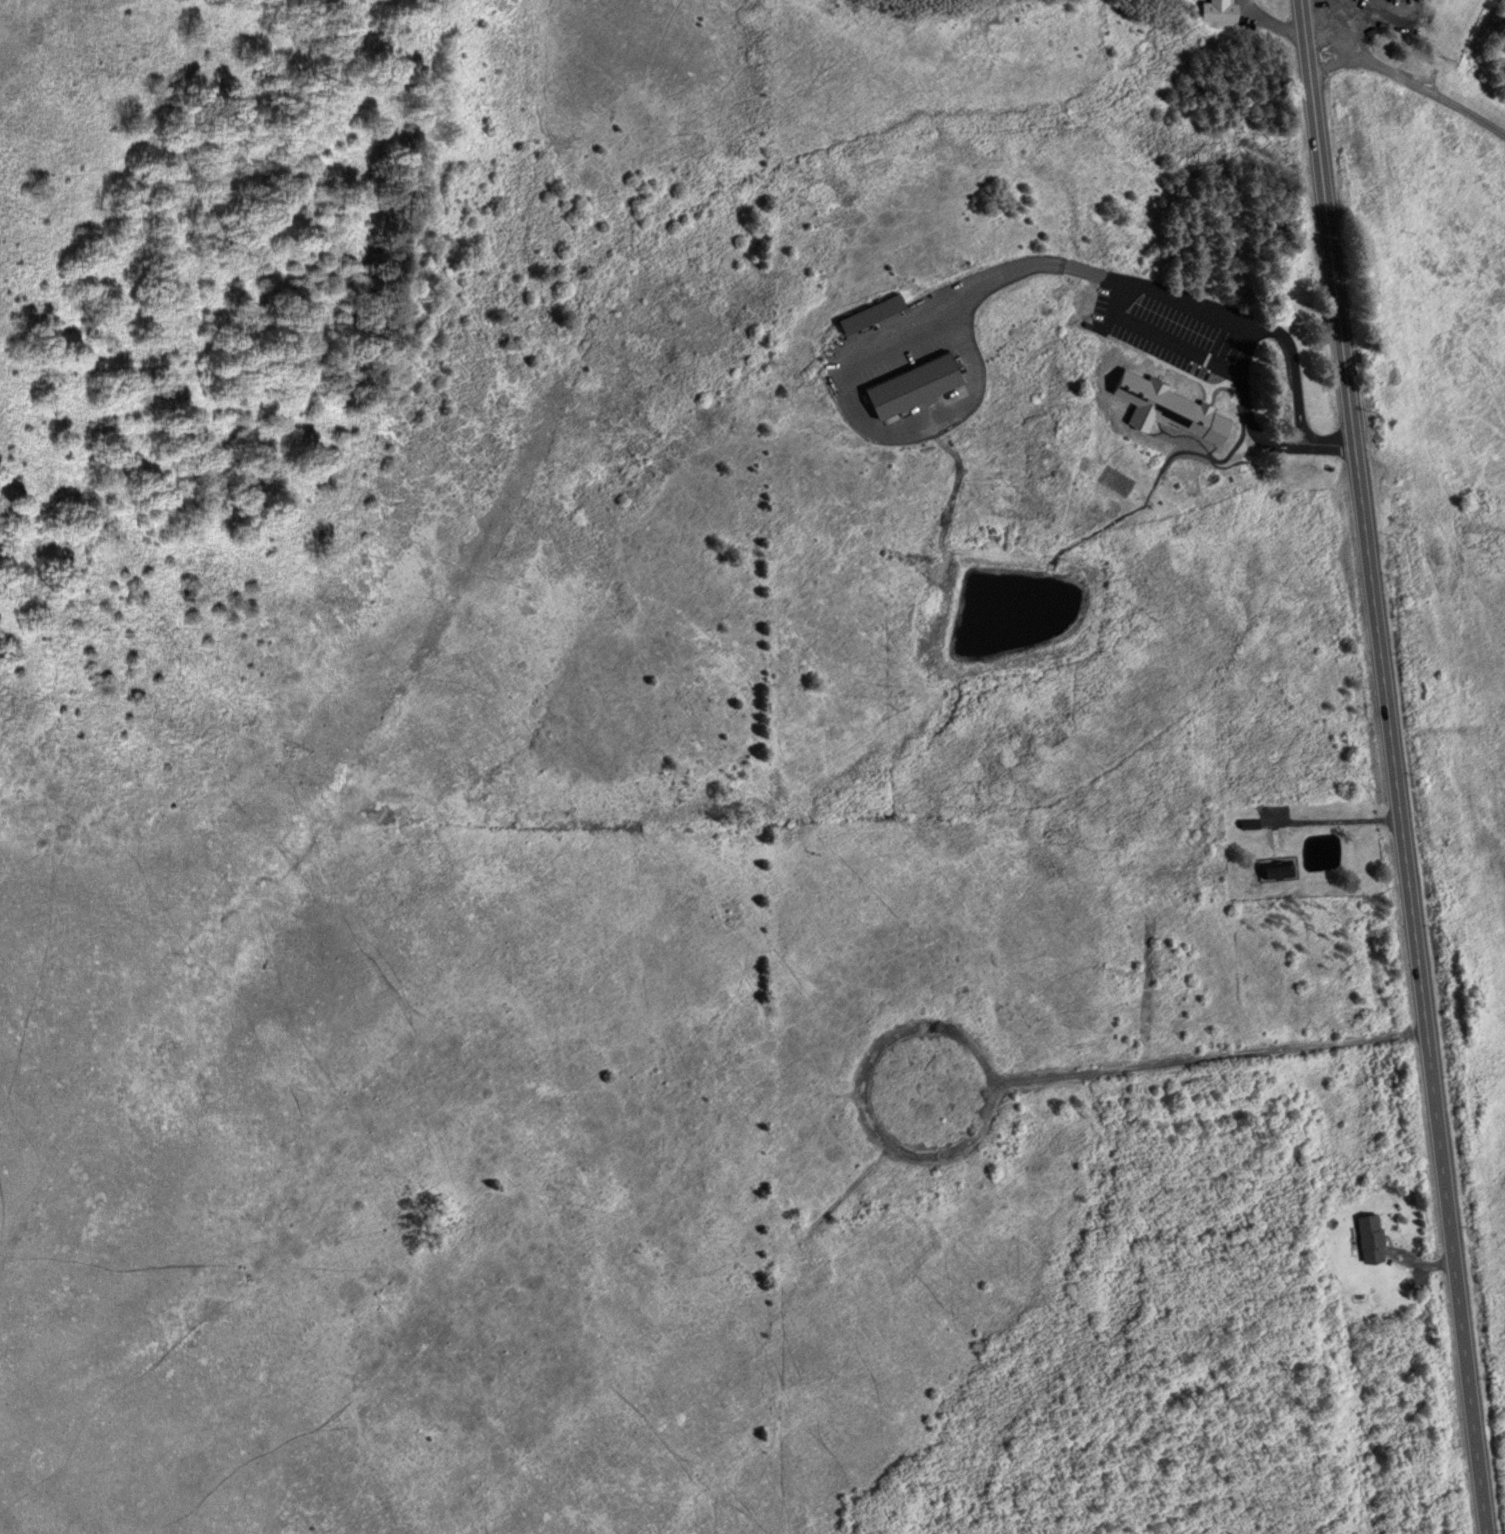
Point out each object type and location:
building: (1218, 9)
road: (1349, 56)
road: (1431, 92)
building: (869, 311)
road: (1339, 319)
road: (1296, 370)
building: (909, 383)
building: (1169, 399)
road: (1247, 413)
building: (1275, 870)
road: (1212, 1060)
road: (1432, 1085)
road: (861, 1099)
building: (1369, 1237)

